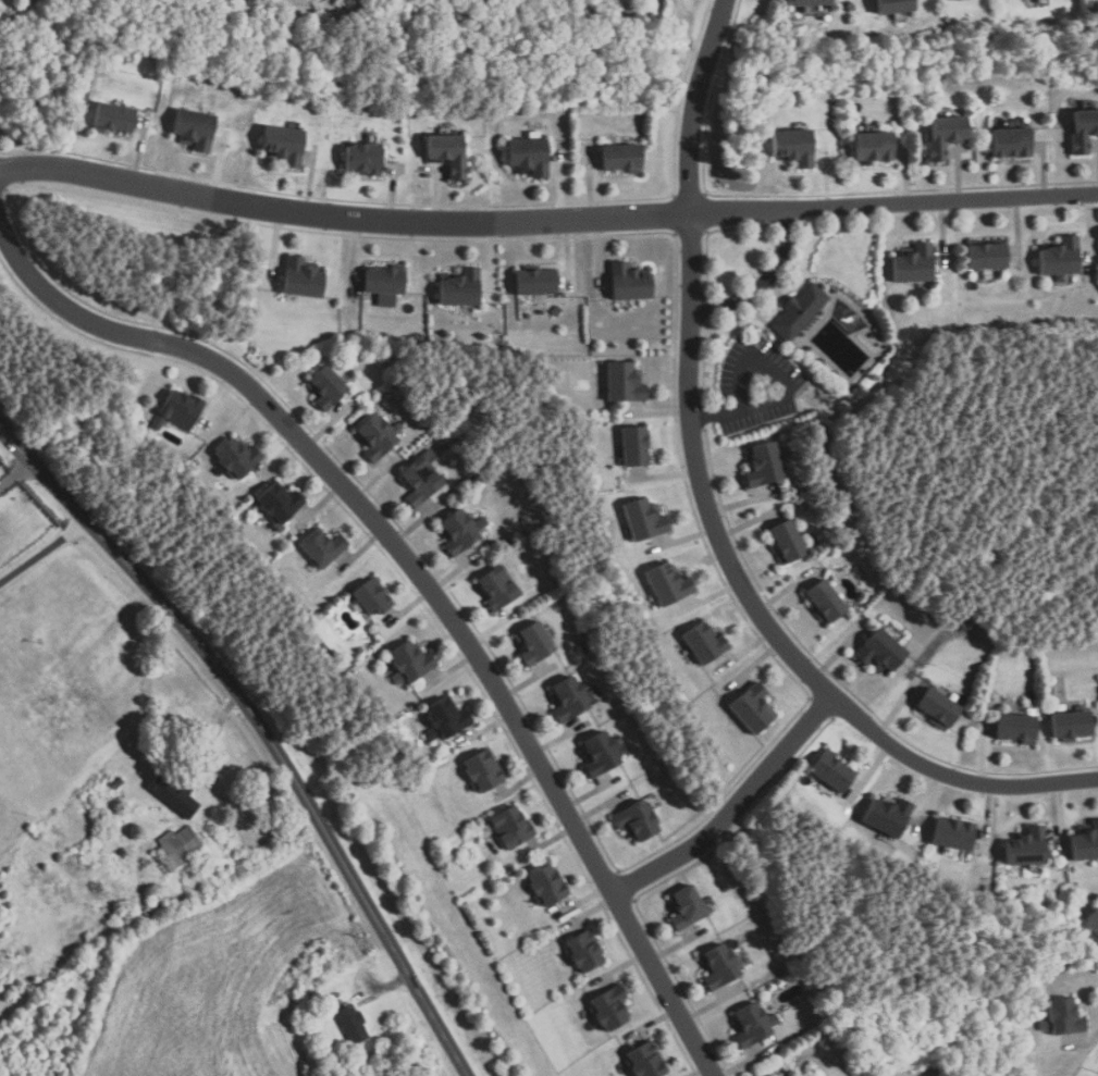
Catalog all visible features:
building: (1, 3)
building: (810, 3)
building: (1093, 4)
building: (896, 7)
building: (112, 119)
building: (195, 129)
building: (1083, 131)
building: (945, 136)
building: (1012, 144)
building: (284, 146)
building: (792, 147)
building: (874, 148)
building: (448, 154)
building: (530, 158)
building: (622, 159)
building: (362, 160)
road: (546, 220)
building: (987, 257)
building: (1064, 258)
building: (913, 265)
building: (301, 280)
road: (762, 281)
building: (538, 283)
building: (385, 284)
building: (630, 284)
building: (461, 289)
building: (799, 312)
road: (750, 358)
building: (625, 381)
building: (325, 385)
building: (181, 409)
building: (375, 437)
building: (636, 444)
building: (238, 458)
building: (763, 463)
road: (16, 473)
building: (422, 478)
building: (280, 502)
road: (708, 512)
building: (643, 519)
building: (461, 530)
building: (787, 541)
building: (322, 546)
road: (44, 552)
road: (424, 580)
building: (668, 583)
building: (498, 586)
building: (372, 596)
building: (826, 599)
building: (534, 640)
building: (704, 642)
building: (881, 651)
building: (411, 661)
building: (568, 698)
building: (753, 707)
building: (939, 707)
building: (446, 717)
building: (1074, 723)
building: (1017, 726)
road: (218, 729)
road: (263, 730)
building: (600, 753)
building: (483, 770)
building: (835, 771)
building: (116, 782)
building: (174, 793)
road: (730, 806)
building: (887, 816)
building: (636, 818)
building: (513, 827)
building: (954, 832)
building: (1086, 842)
building: (1028, 846)
building: (177, 848)
building: (547, 885)
building: (684, 907)
building: (584, 950)
building: (718, 967)
road: (384, 989)
building: (610, 1006)
building: (1063, 1016)
building: (351, 1023)
building: (752, 1025)
building: (647, 1060)

